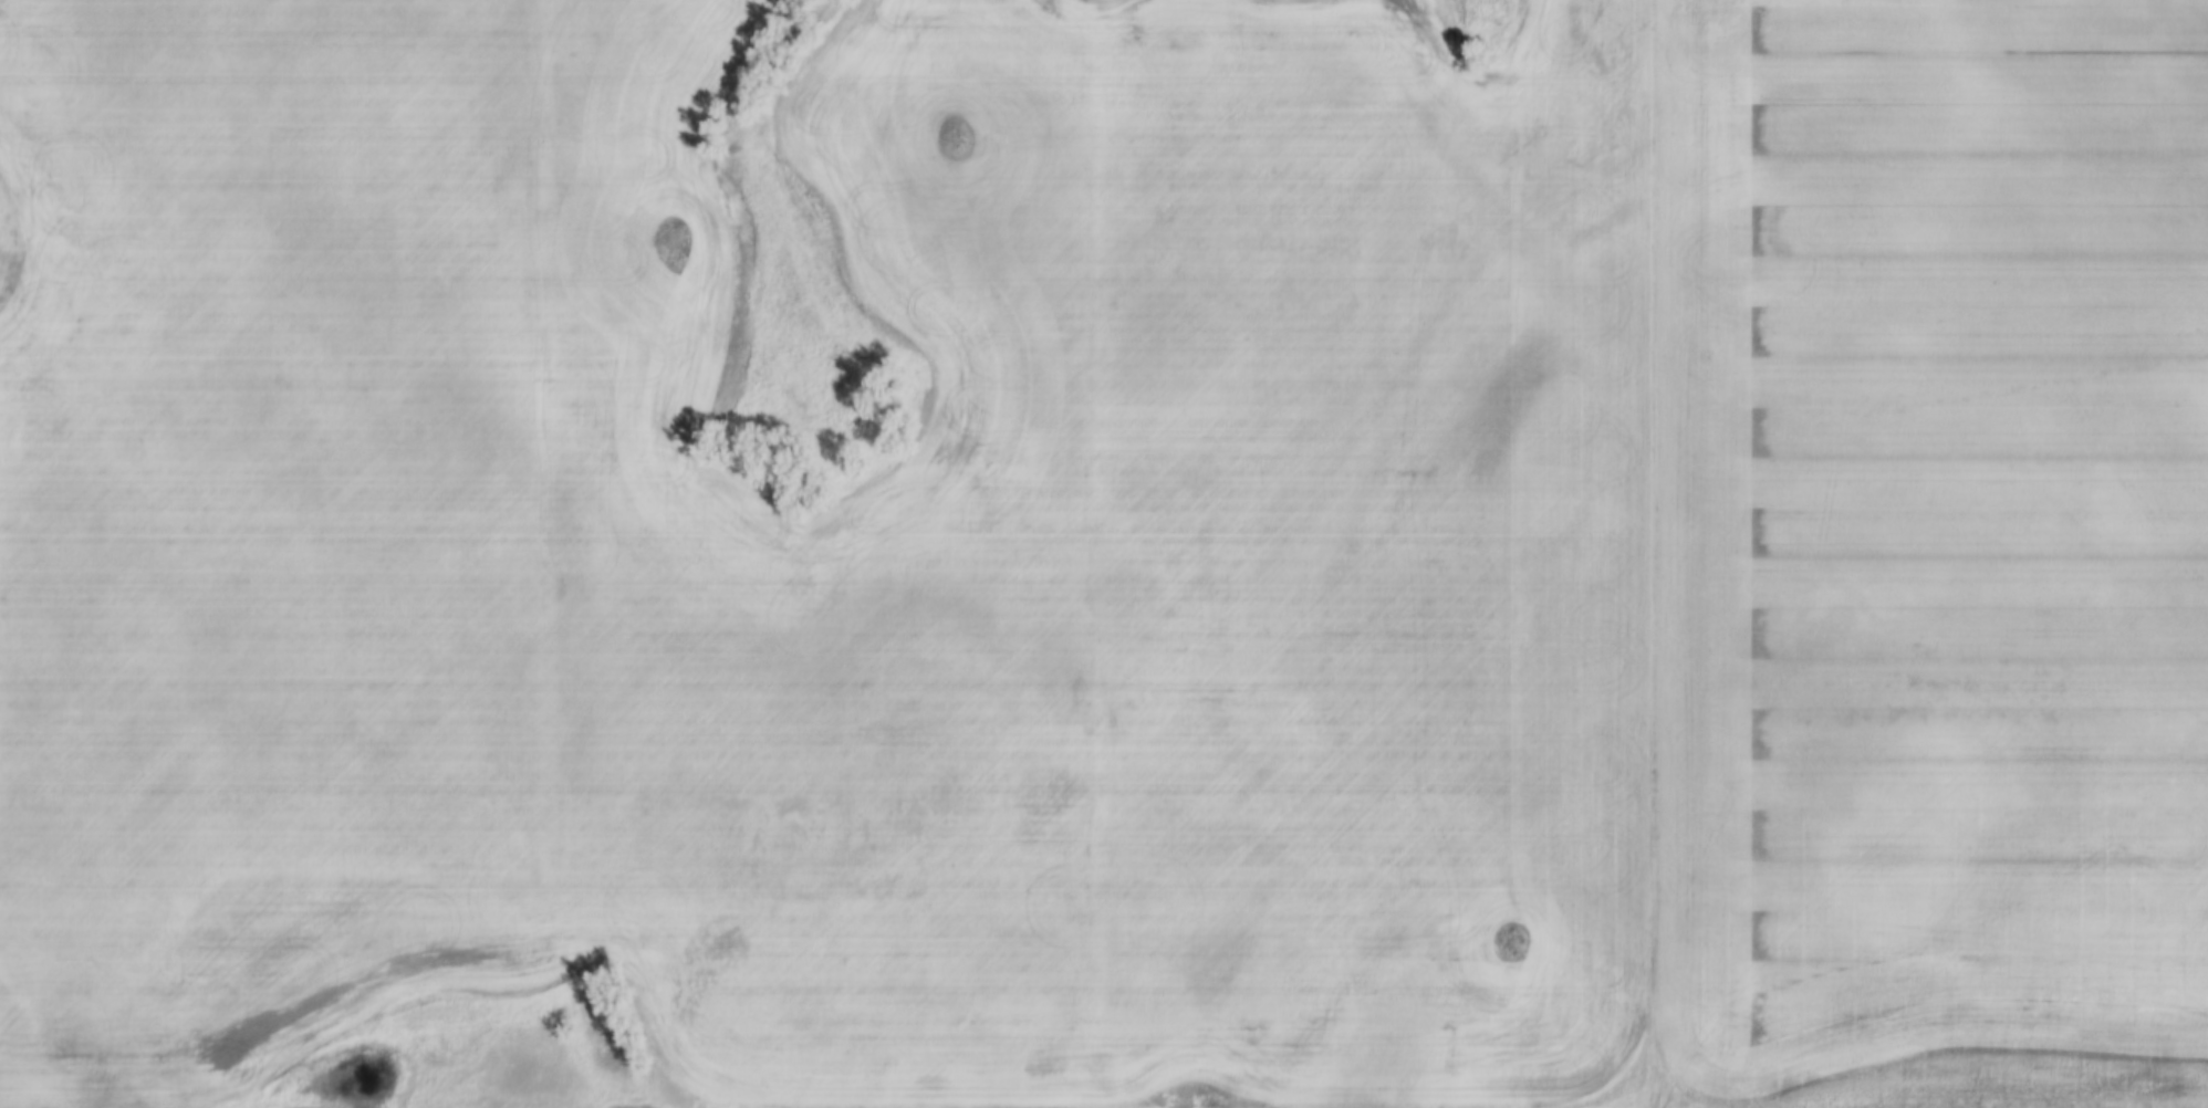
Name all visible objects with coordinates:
road: (1652, 554)

